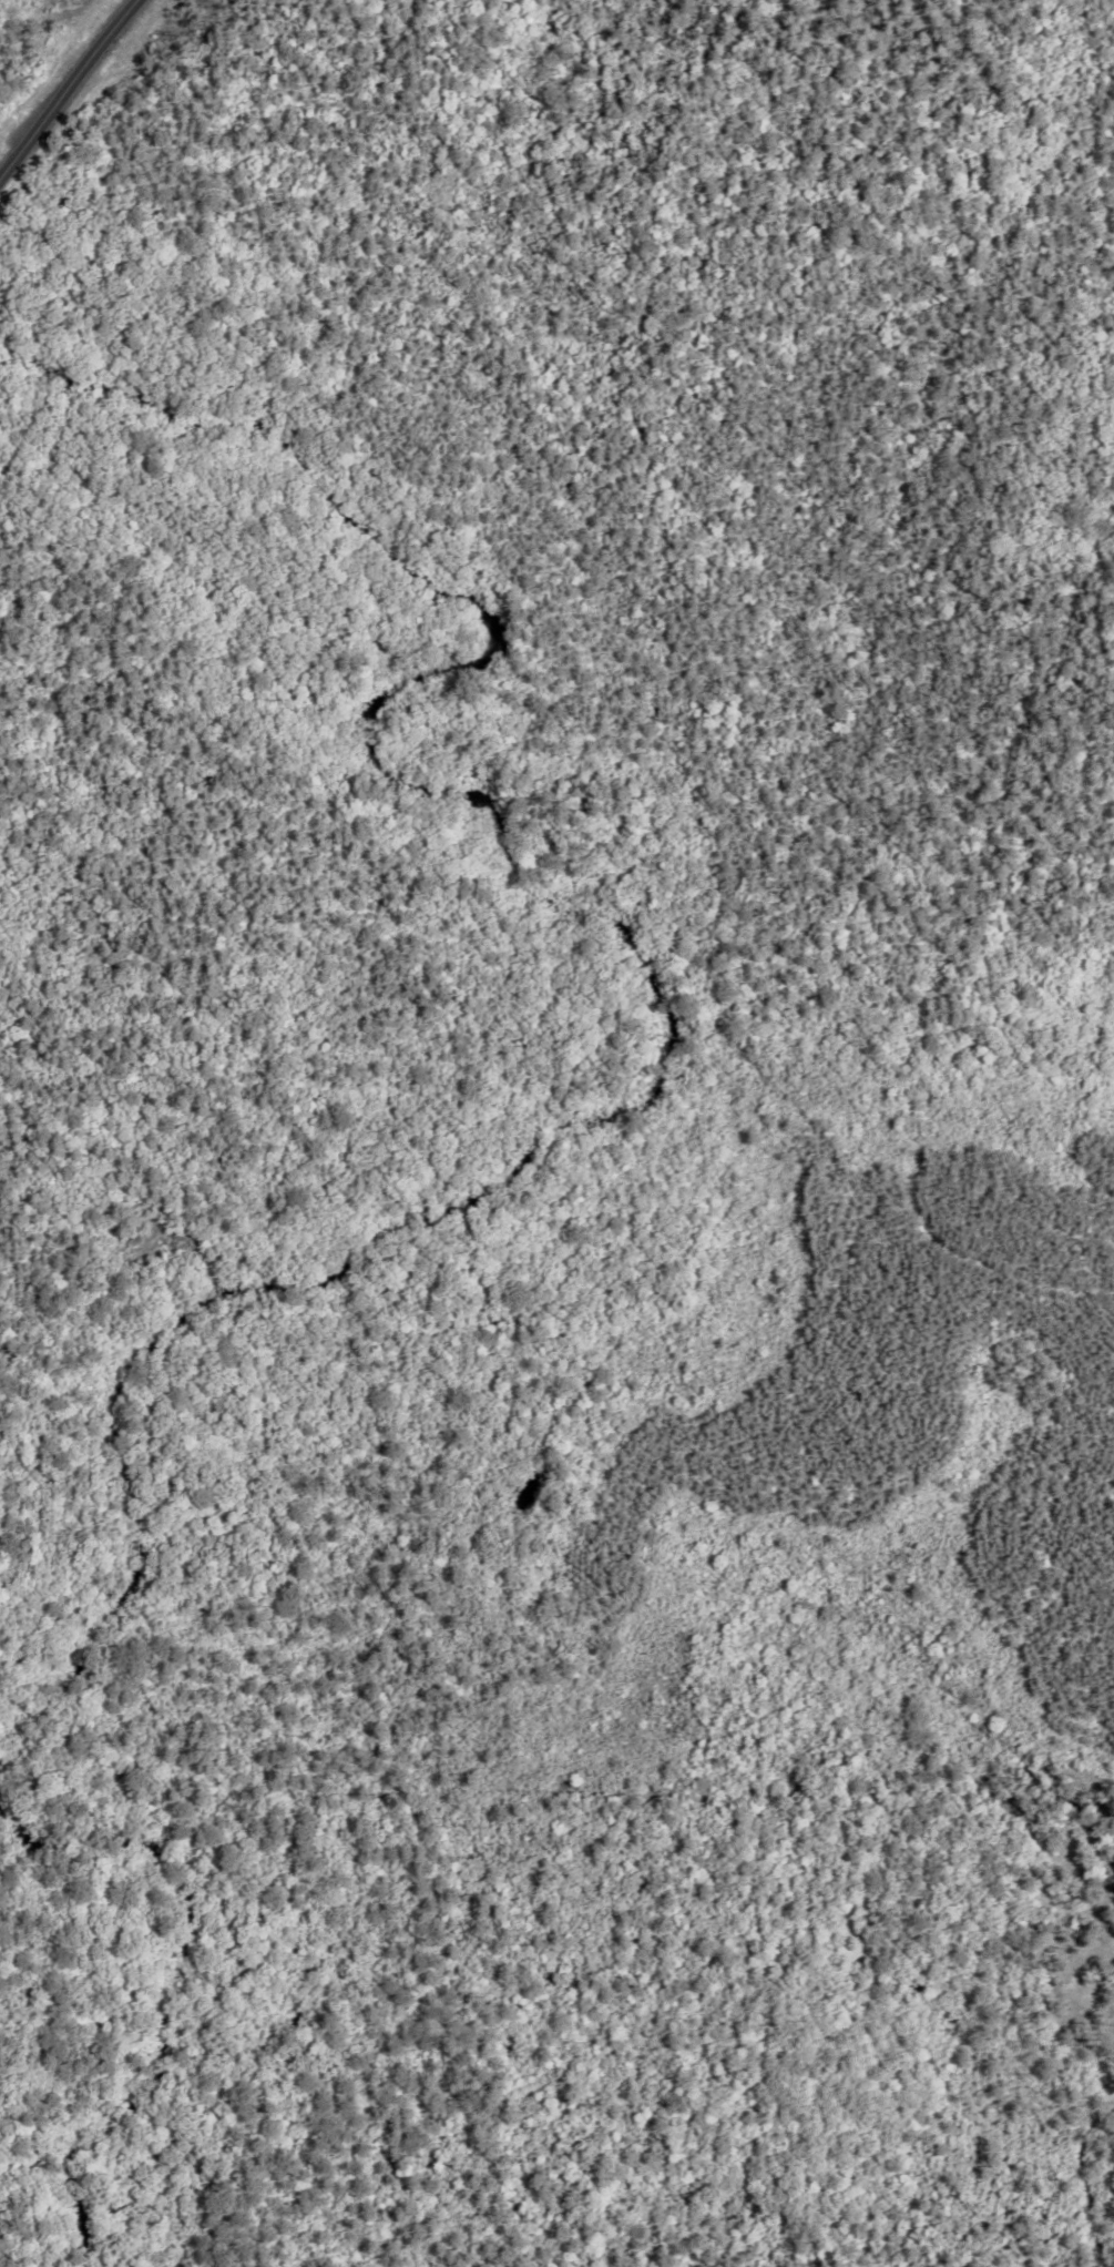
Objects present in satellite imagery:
road: (67, 93)

